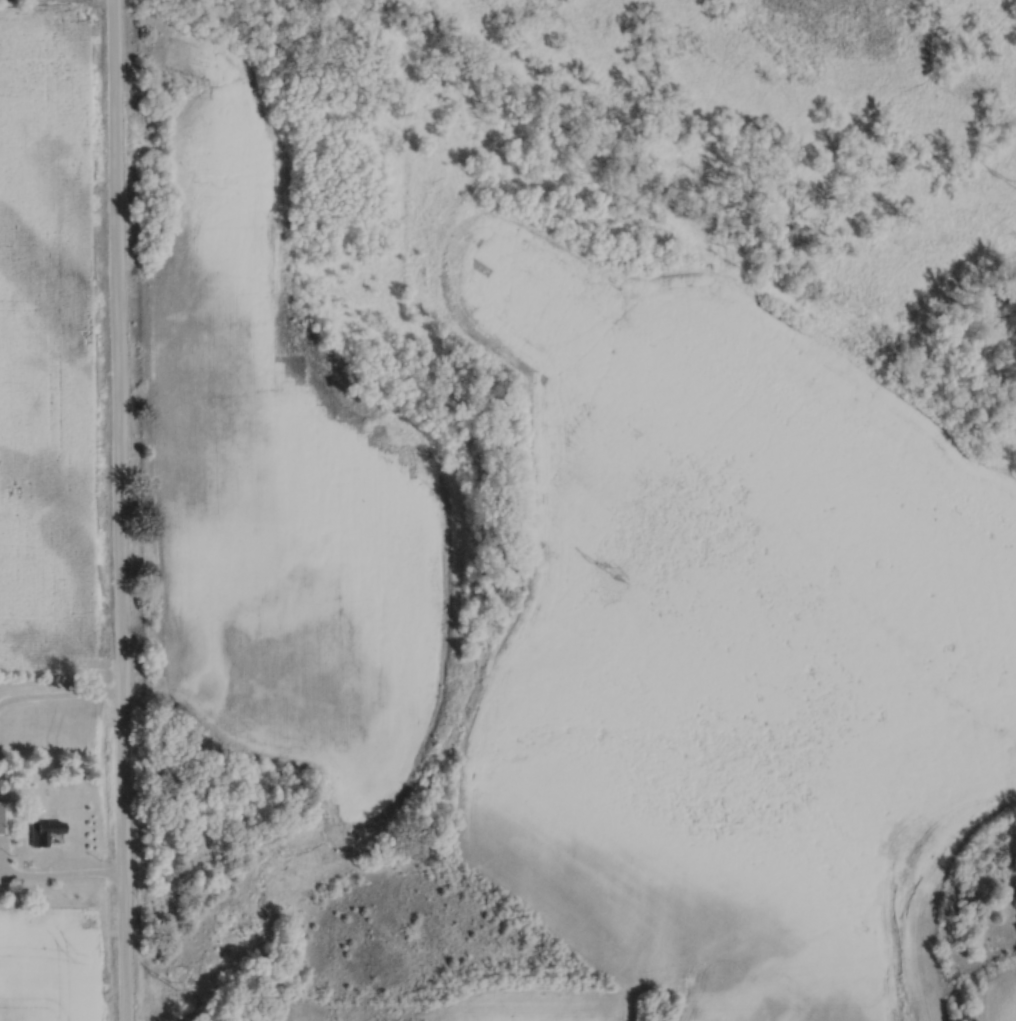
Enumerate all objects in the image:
power tower: (1015, 182)
road: (120, 510)
power tower: (625, 551)
road: (61, 702)
building: (4, 814)
building: (44, 832)
road: (61, 879)
power tower: (171, 983)

